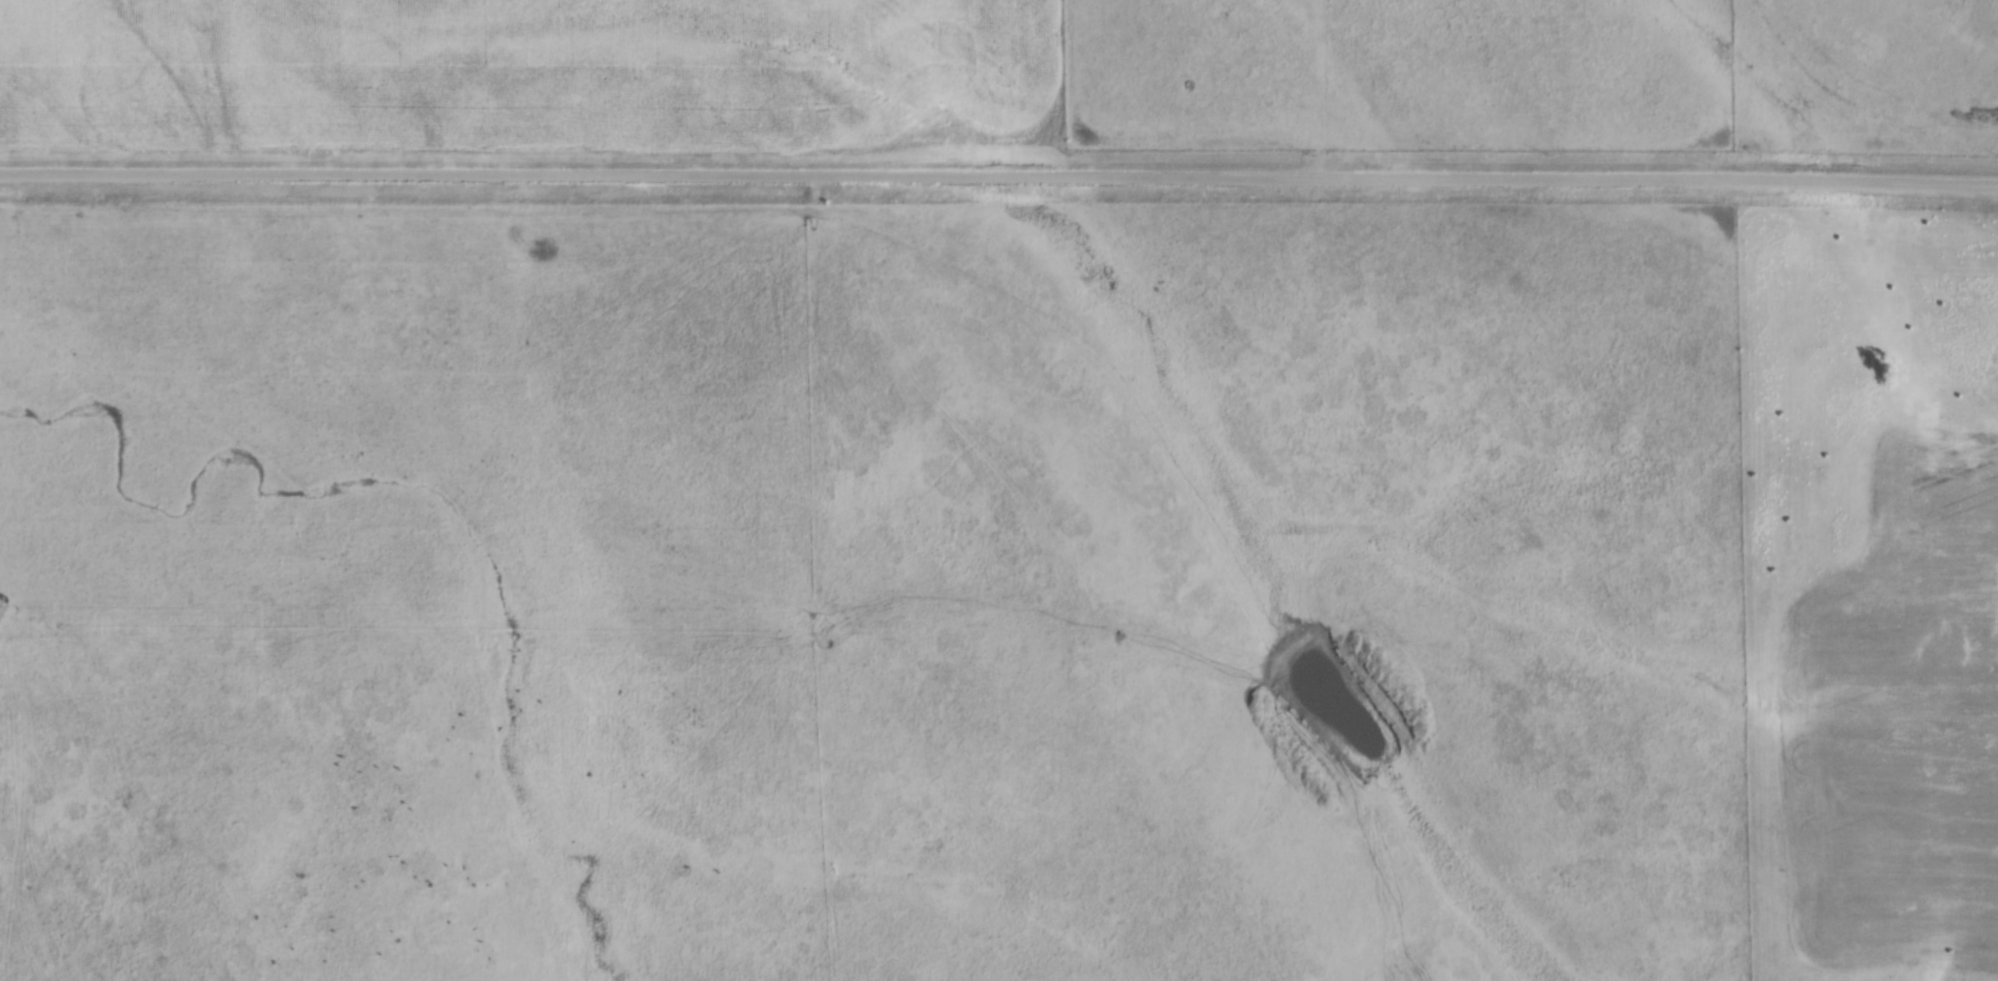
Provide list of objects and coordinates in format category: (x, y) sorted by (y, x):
road: (999, 174)

